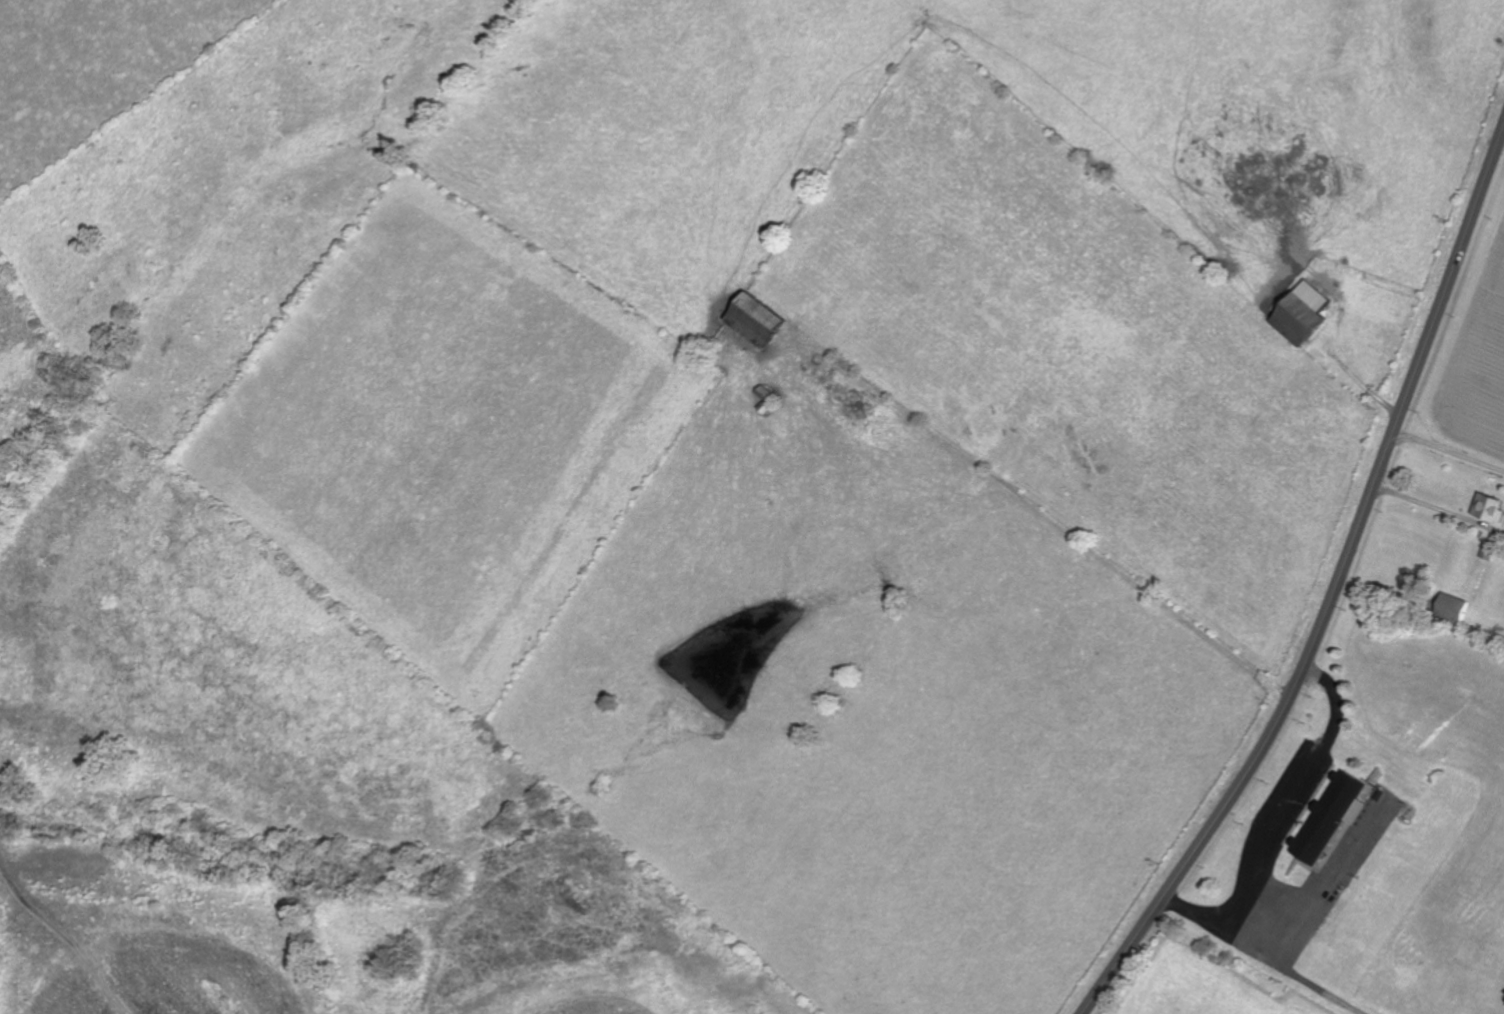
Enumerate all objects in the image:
road: (1503, 132)
building: (1300, 313)
building: (751, 319)
road: (1448, 450)
building: (1488, 508)
road: (1335, 592)
building: (1452, 607)
building: (1367, 791)
road: (1292, 792)
building: (1330, 814)
road: (1328, 874)
road: (1265, 953)

